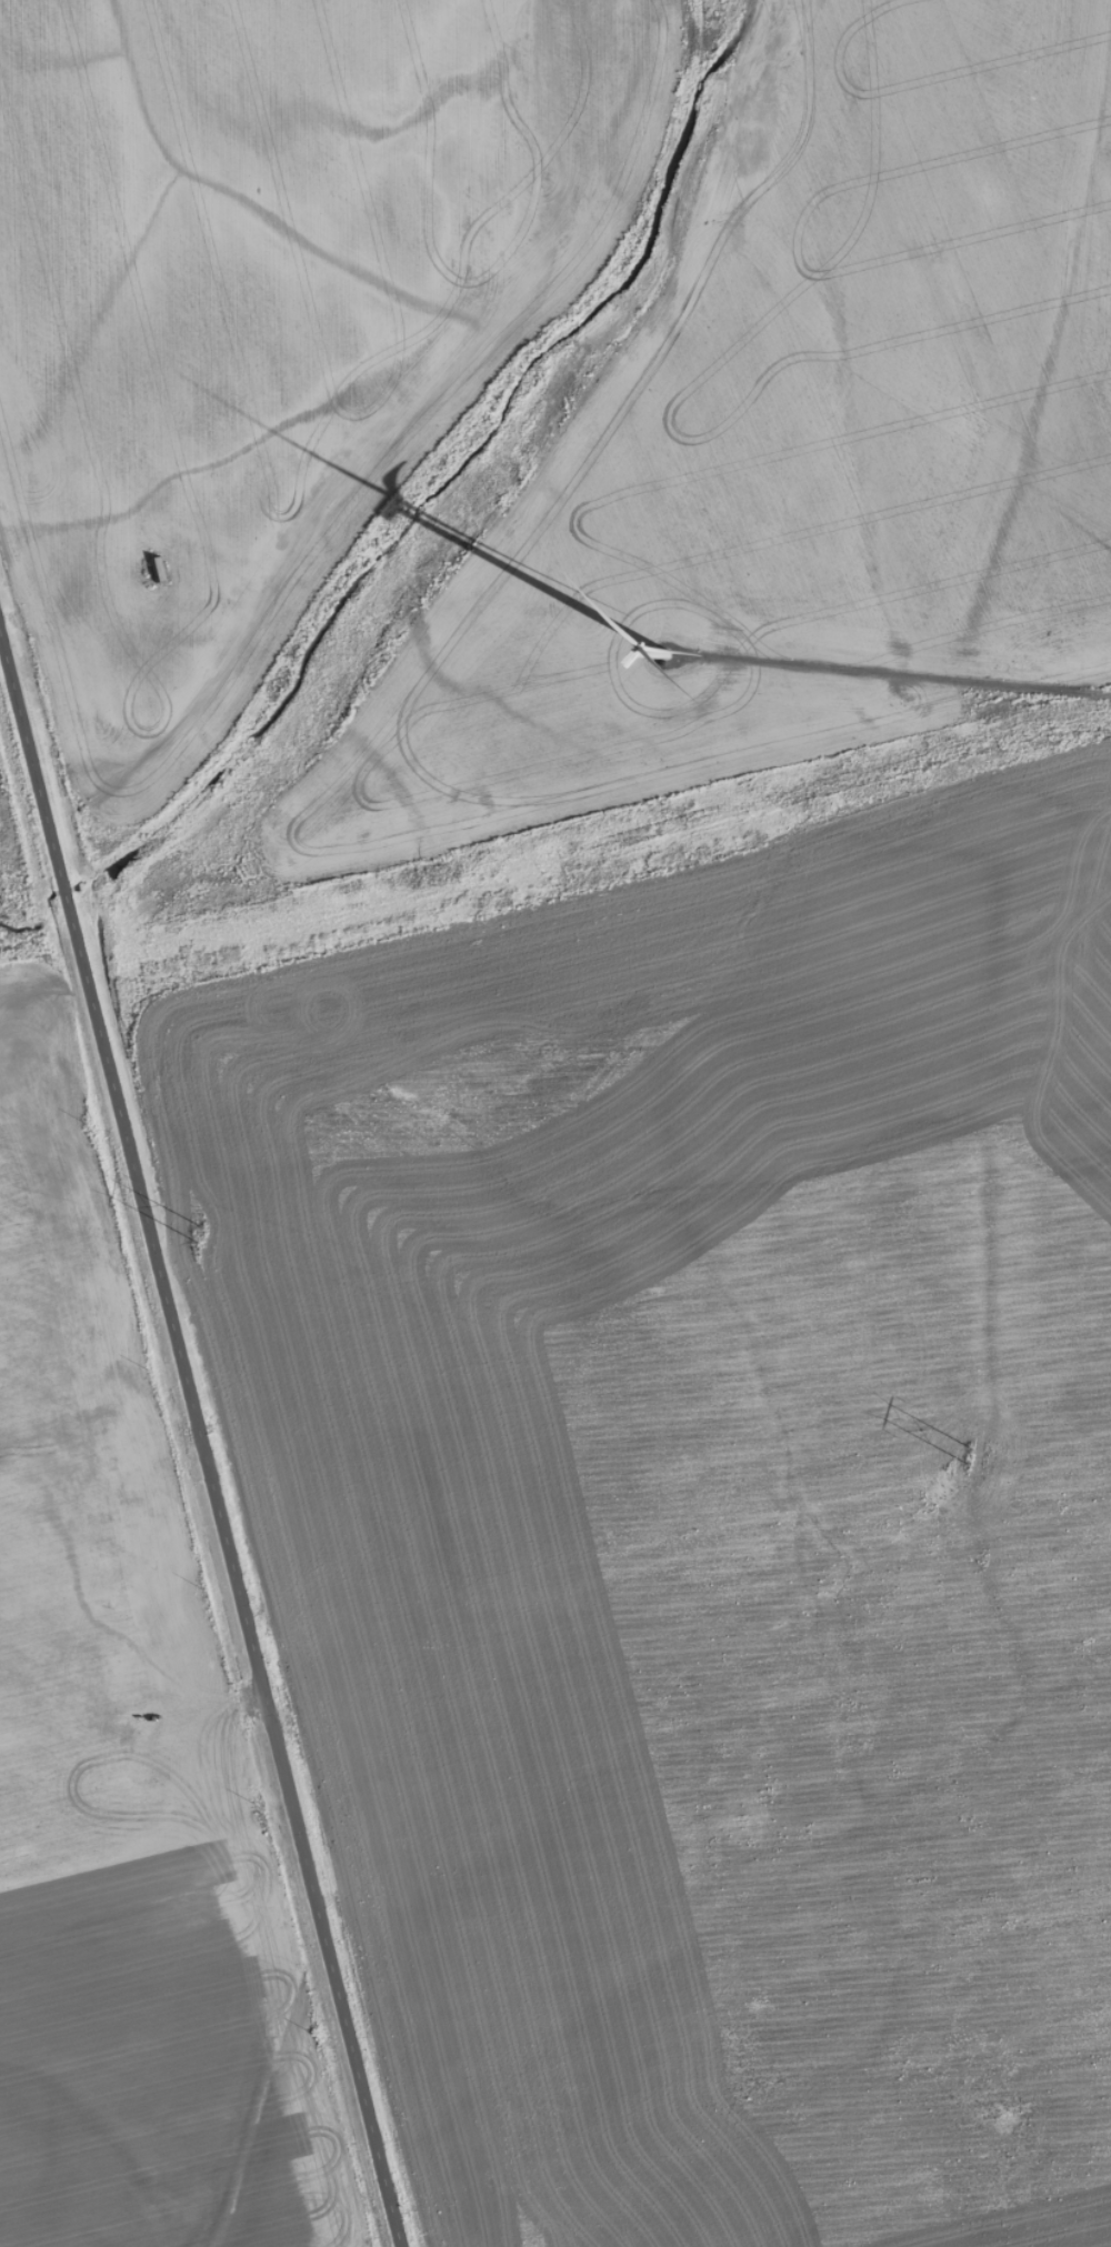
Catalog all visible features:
wind turbine: (660, 656)
power tower: (196, 1234)
road: (201, 1436)
power tower: (967, 1457)

